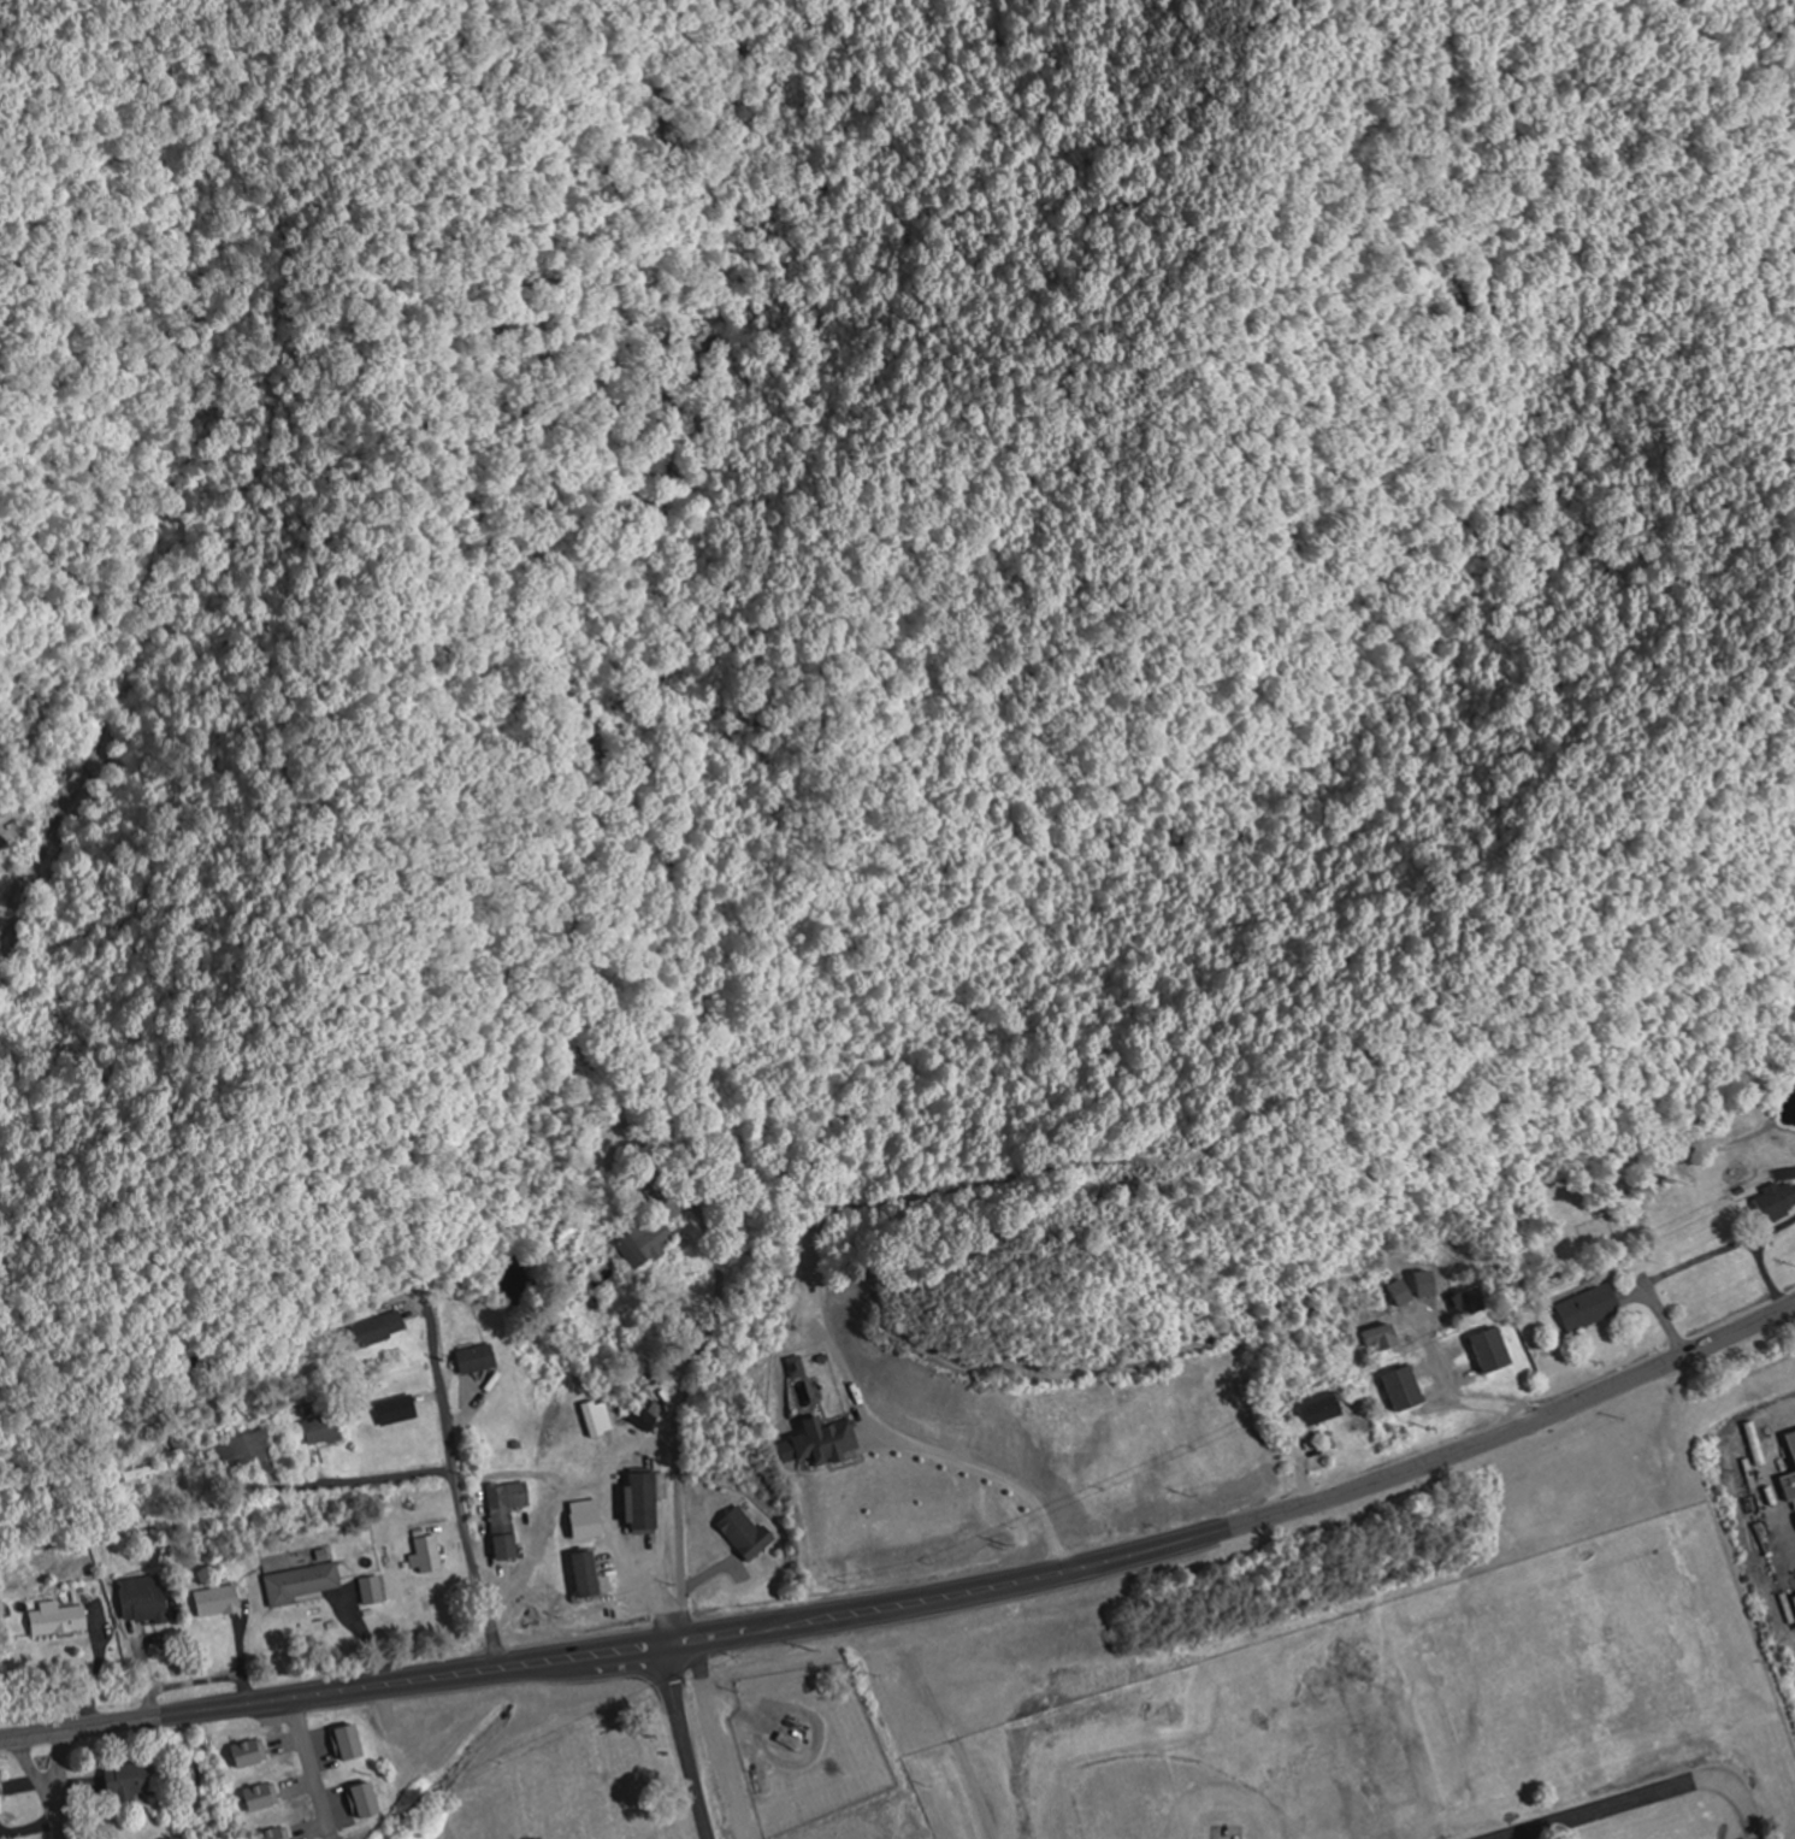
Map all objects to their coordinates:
building: (608, 1165)
building: (1778, 1202)
building: (655, 1225)
building: (1472, 1302)
building: (1592, 1307)
building: (374, 1330)
building: (1382, 1338)
building: (1493, 1349)
building: (476, 1358)
road: (693, 1367)
building: (1405, 1389)
building: (1322, 1408)
building: (395, 1409)
building: (648, 1413)
building: (320, 1428)
building: (1793, 1436)
building: (179, 1442)
building: (246, 1451)
building: (147, 1470)
road: (352, 1481)
building: (1790, 1486)
road: (454, 1495)
building: (644, 1499)
building: (506, 1515)
building: (586, 1520)
building: (748, 1534)
building: (429, 1554)
building: (586, 1574)
building: (301, 1582)
building: (144, 1599)
road: (917, 1599)
building: (217, 1601)
building: (58, 1619)
road: (684, 1739)
building: (250, 1752)
road: (311, 1768)
road: (34, 1774)
building: (126, 1782)
road: (55, 1785)
building: (262, 1796)
building: (0, 1802)
building: (274, 1833)

